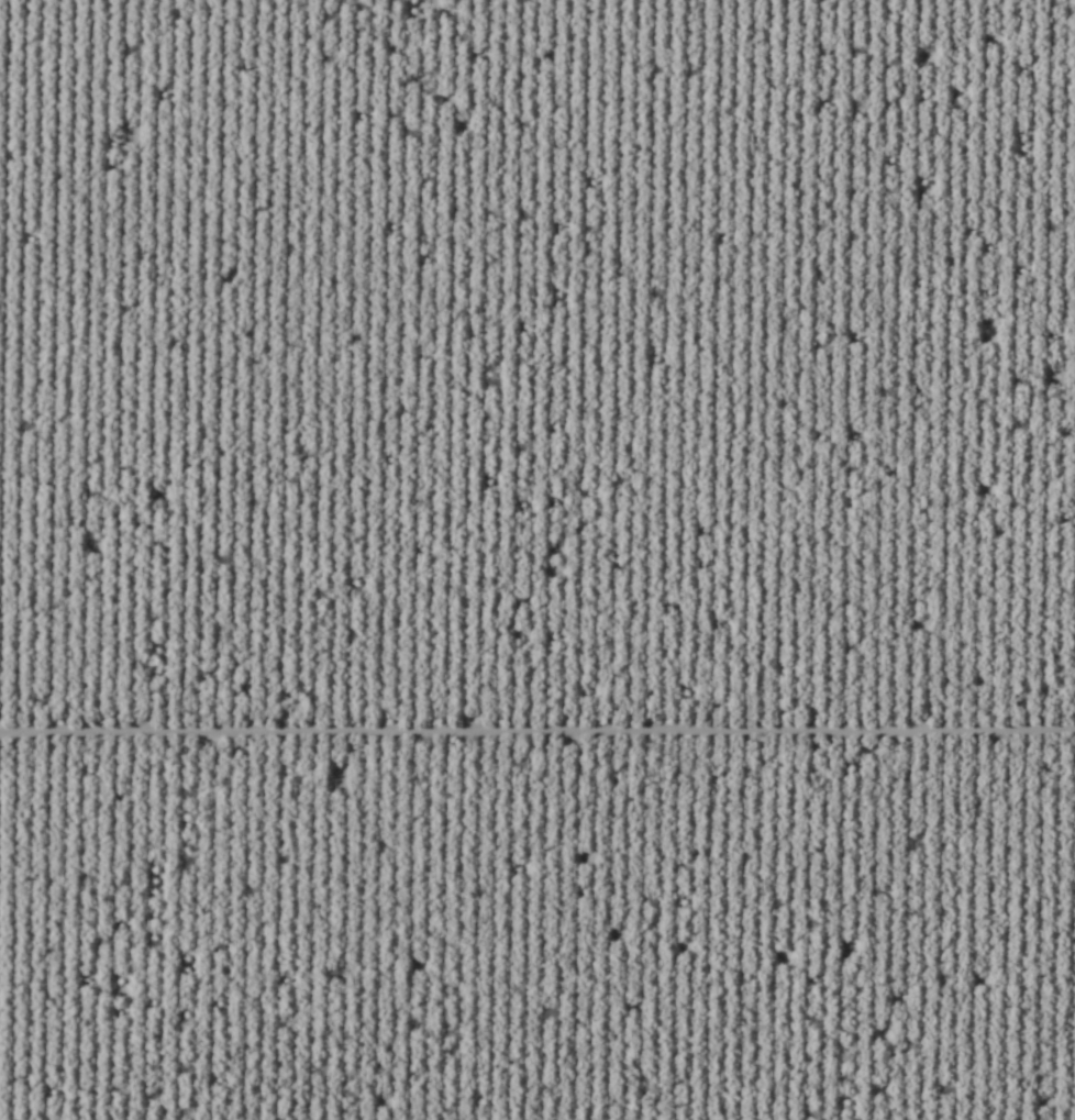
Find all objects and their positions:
crop: (537, 559)
road: (304, 978)

